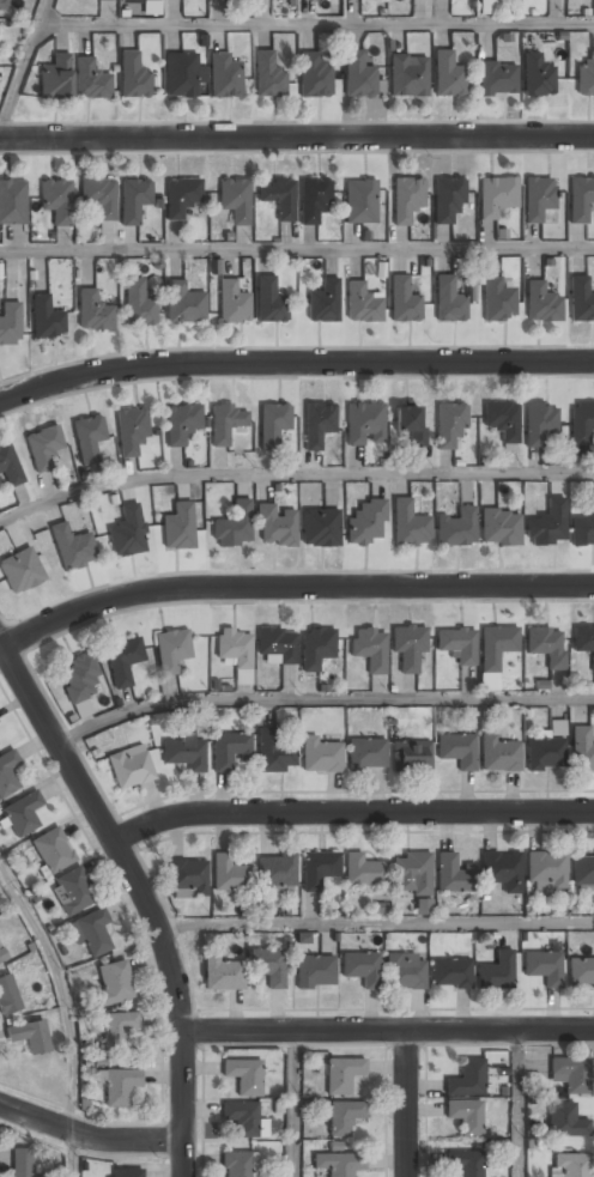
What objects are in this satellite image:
building: (98, 0)
building: (141, 0)
building: (2, 5)
building: (487, 6)
road: (316, 24)
road: (25, 62)
building: (592, 69)
building: (182, 75)
building: (313, 75)
building: (357, 75)
building: (447, 75)
building: (537, 75)
building: (132, 77)
building: (223, 77)
building: (267, 77)
building: (407, 77)
building: (54, 78)
building: (496, 78)
building: (89, 79)
road: (296, 138)
building: (496, 195)
building: (98, 196)
building: (538, 196)
building: (180, 198)
building: (277, 198)
building: (406, 198)
building: (234, 199)
building: (448, 199)
building: (578, 199)
building: (55, 200)
building: (133, 200)
building: (359, 201)
building: (12, 202)
building: (313, 202)
road: (297, 250)
building: (447, 298)
building: (580, 298)
building: (497, 299)
building: (268, 301)
building: (358, 301)
building: (402, 301)
building: (231, 302)
building: (323, 302)
building: (183, 303)
building: (541, 303)
building: (138, 304)
building: (92, 311)
building: (44, 318)
building: (10, 322)
road: (295, 363)
building: (502, 420)
building: (181, 423)
building: (224, 423)
building: (581, 423)
building: (272, 424)
building: (317, 424)
building: (364, 424)
building: (448, 424)
building: (539, 424)
building: (408, 426)
building: (131, 431)
building: (87, 438)
building: (43, 448)
building: (10, 466)
road: (292, 472)
building: (365, 523)
building: (546, 524)
building: (232, 526)
building: (408, 526)
building: (177, 527)
building: (274, 527)
building: (320, 528)
building: (457, 528)
building: (499, 528)
building: (582, 528)
building: (127, 532)
building: (72, 547)
building: (20, 571)
road: (291, 589)
building: (583, 642)
building: (456, 645)
building: (545, 645)
building: (407, 647)
building: (277, 648)
building: (316, 648)
building: (369, 649)
building: (171, 651)
building: (235, 653)
building: (493, 653)
building: (122, 660)
building: (78, 682)
building: (466, 682)
road: (321, 698)
building: (456, 750)
building: (546, 750)
building: (581, 750)
building: (229, 751)
building: (273, 753)
building: (184, 754)
building: (365, 754)
building: (498, 754)
building: (320, 756)
building: (411, 757)
building: (129, 768)
building: (7, 772)
building: (22, 813)
road: (350, 813)
building: (51, 849)
building: (582, 869)
building: (317, 870)
building: (363, 870)
building: (501, 872)
building: (545, 872)
building: (275, 873)
building: (226, 874)
building: (411, 874)
building: (450, 875)
building: (187, 879)
building: (72, 890)
road: (144, 894)
building: (423, 906)
road: (376, 923)
building: (90, 932)
building: (1, 953)
building: (267, 966)
building: (543, 967)
building: (360, 969)
building: (314, 972)
building: (405, 972)
building: (450, 973)
building: (496, 973)
building: (581, 973)
building: (223, 975)
building: (114, 982)
road: (61, 991)
building: (7, 995)
building: (116, 1029)
road: (388, 1030)
building: (29, 1036)
building: (341, 1074)
building: (569, 1074)
building: (243, 1076)
building: (466, 1079)
building: (117, 1085)
road: (407, 1103)
road: (292, 1104)
road: (516, 1104)
building: (465, 1116)
building: (343, 1117)
building: (242, 1118)
building: (565, 1122)
road: (90, 1135)
road: (77, 1154)
building: (23, 1163)
building: (465, 1163)
building: (256, 1164)
building: (339, 1164)
building: (235, 1165)
building: (571, 1165)
building: (125, 1173)

